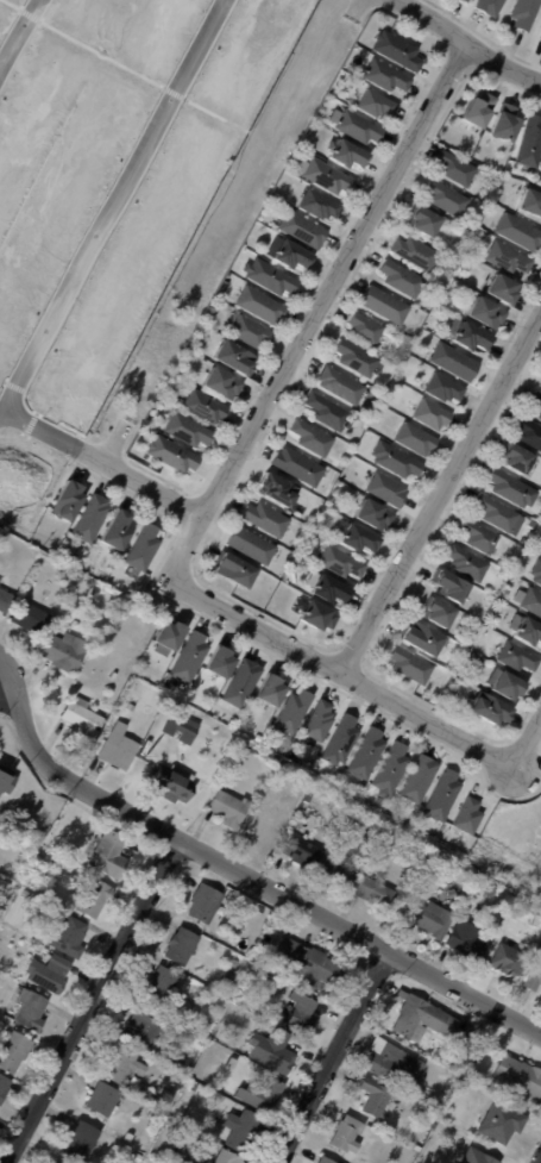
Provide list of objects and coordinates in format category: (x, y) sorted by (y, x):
building: (463, 0)
building: (467, 0)
road: (14, 5)
building: (491, 6)
building: (524, 13)
road: (33, 14)
road: (483, 36)
road: (20, 39)
road: (464, 43)
building: (398, 51)
road: (103, 56)
building: (388, 76)
road: (176, 93)
building: (378, 105)
building: (480, 111)
road: (218, 114)
building: (505, 123)
building: (358, 125)
building: (530, 142)
building: (347, 154)
building: (457, 170)
building: (327, 176)
building: (447, 199)
building: (530, 202)
building: (320, 204)
road: (118, 205)
building: (424, 220)
building: (303, 229)
building: (520, 231)
building: (419, 254)
building: (292, 255)
building: (509, 257)
building: (452, 263)
building: (271, 276)
building: (402, 279)
building: (227, 283)
building: (502, 288)
building: (262, 305)
building: (386, 306)
road: (317, 311)
building: (486, 312)
building: (366, 329)
building: (251, 332)
building: (474, 337)
building: (234, 357)
building: (358, 357)
building: (455, 362)
building: (184, 374)
building: (222, 383)
building: (539, 383)
building: (341, 384)
building: (446, 387)
building: (535, 404)
building: (205, 407)
building: (331, 412)
building: (432, 413)
road: (4, 414)
building: (190, 431)
building: (528, 434)
building: (314, 438)
building: (416, 438)
building: (172, 454)
building: (396, 459)
building: (512, 459)
road: (106, 464)
building: (300, 467)
building: (509, 488)
building: (278, 489)
building: (388, 489)
road: (441, 494)
building: (69, 500)
building: (493, 513)
building: (375, 514)
building: (93, 518)
building: (268, 519)
building: (530, 524)
building: (119, 529)
building: (476, 537)
building: (359, 538)
building: (252, 544)
building: (539, 546)
building: (145, 549)
building: (344, 562)
building: (464, 563)
building: (238, 570)
building: (535, 573)
building: (61, 577)
building: (297, 579)
building: (447, 587)
building: (332, 588)
building: (94, 594)
building: (5, 600)
building: (530, 604)
building: (435, 613)
building: (317, 615)
building: (32, 619)
building: (526, 632)
building: (171, 634)
building: (419, 639)
building: (68, 654)
building: (190, 658)
building: (515, 658)
building: (222, 662)
building: (407, 665)
road: (5, 673)
building: (115, 676)
road: (344, 677)
building: (243, 684)
building: (502, 686)
building: (272, 689)
building: (132, 707)
building: (487, 709)
building: (292, 711)
building: (84, 719)
building: (319, 719)
building: (183, 730)
building: (340, 739)
building: (120, 748)
road: (529, 748)
building: (365, 751)
building: (390, 768)
building: (419, 777)
building: (5, 780)
building: (175, 783)
building: (442, 793)
building: (272, 802)
building: (229, 808)
building: (467, 814)
building: (264, 829)
building: (65, 850)
building: (303, 852)
building: (111, 855)
building: (442, 859)
road: (240, 874)
building: (338, 874)
building: (5, 888)
building: (492, 892)
building: (377, 893)
building: (26, 895)
building: (96, 898)
building: (206, 902)
building: (534, 911)
building: (432, 917)
building: (70, 937)
building: (465, 938)
building: (495, 945)
building: (182, 946)
building: (507, 959)
building: (307, 962)
building: (237, 963)
building: (50, 973)
building: (231, 974)
building: (534, 977)
building: (162, 987)
building: (189, 998)
road: (96, 1002)
building: (32, 1008)
building: (303, 1013)
building: (225, 1015)
building: (428, 1021)
building: (146, 1030)
building: (15, 1051)
building: (285, 1053)
road: (333, 1058)
building: (125, 1063)
building: (181, 1063)
building: (395, 1064)
building: (460, 1064)
building: (474, 1073)
building: (520, 1077)
building: (4, 1084)
building: (163, 1086)
building: (196, 1087)
building: (264, 1093)
building: (149, 1095)
building: (377, 1096)
building: (105, 1099)
building: (439, 1105)
building: (502, 1124)
building: (245, 1130)
building: (348, 1133)
building: (128, 1137)
building: (82, 1139)
building: (445, 1146)
building: (172, 1149)
building: (137, 1157)
building: (229, 1157)
building: (487, 1158)
building: (327, 1159)
building: (55, 1162)
building: (57, 1162)

